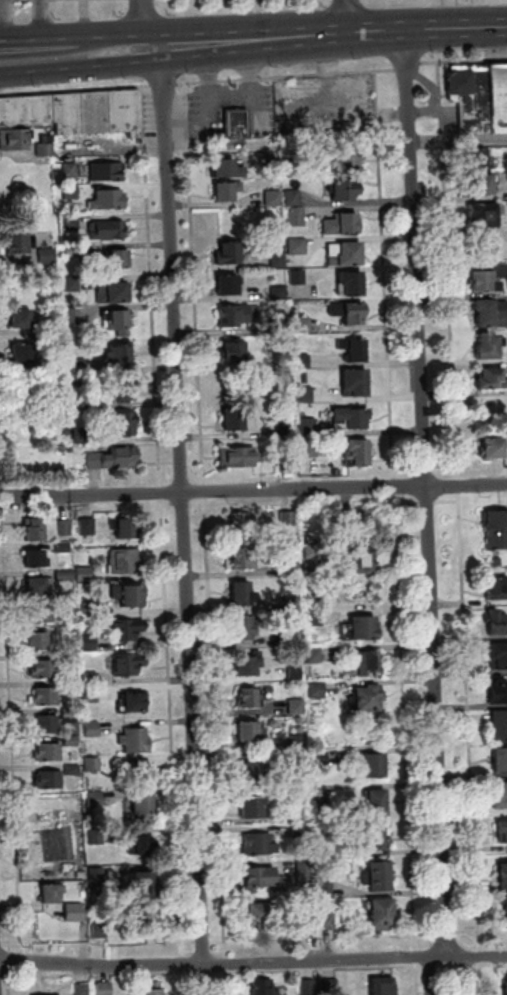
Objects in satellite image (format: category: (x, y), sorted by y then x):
road: (4, 0)
road: (348, 17)
road: (45, 19)
road: (8, 20)
road: (143, 24)
road: (428, 30)
road: (38, 38)
road: (110, 41)
road: (255, 41)
road: (152, 48)
road: (464, 61)
road: (409, 66)
road: (72, 67)
road: (287, 76)
road: (165, 83)
road: (75, 89)
building: (481, 96)
building: (77, 110)
building: (238, 123)
building: (15, 138)
road: (460, 141)
building: (46, 149)
building: (481, 159)
building: (347, 164)
building: (272, 166)
building: (298, 167)
building: (227, 168)
building: (71, 169)
building: (107, 171)
building: (482, 183)
building: (345, 188)
building: (228, 189)
building: (72, 190)
building: (294, 197)
building: (275, 198)
building: (110, 199)
building: (487, 213)
building: (298, 216)
building: (73, 222)
building: (343, 223)
building: (108, 230)
building: (17, 242)
building: (299, 245)
building: (74, 250)
building: (230, 252)
building: (346, 252)
building: (48, 255)
building: (121, 258)
building: (279, 259)
road: (450, 270)
road: (386, 274)
building: (299, 276)
building: (487, 281)
building: (352, 282)
building: (73, 283)
road: (196, 283)
building: (230, 283)
road: (153, 285)
building: (114, 291)
building: (280, 292)
building: (350, 311)
building: (492, 312)
building: (235, 314)
building: (75, 315)
building: (22, 318)
building: (119, 319)
building: (304, 324)
building: (280, 325)
building: (489, 346)
building: (356, 348)
building: (24, 351)
building: (235, 351)
building: (123, 353)
building: (283, 360)
building: (304, 360)
building: (53, 362)
building: (80, 365)
building: (491, 378)
building: (357, 381)
building: (124, 392)
building: (306, 394)
building: (22, 395)
building: (81, 400)
building: (354, 416)
building: (235, 419)
building: (126, 423)
building: (307, 427)
building: (286, 430)
building: (69, 431)
building: (82, 434)
building: (495, 447)
building: (309, 448)
building: (360, 450)
building: (239, 456)
building: (115, 457)
road: (1, 464)
building: (288, 464)
road: (408, 469)
road: (428, 471)
road: (448, 473)
road: (198, 480)
road: (170, 481)
road: (184, 481)
road: (1, 484)
road: (461, 486)
road: (395, 487)
road: (205, 490)
road: (253, 490)
road: (163, 492)
road: (428, 493)
road: (2, 498)
road: (199, 501)
road: (169, 502)
road: (183, 502)
road: (450, 502)
road: (409, 503)
road: (429, 503)
road: (1, 512)
building: (359, 516)
building: (289, 518)
road: (185, 521)
building: (89, 526)
building: (242, 526)
building: (66, 527)
building: (128, 527)
building: (496, 527)
building: (35, 528)
building: (311, 539)
building: (64, 547)
building: (313, 550)
building: (36, 558)
building: (246, 558)
building: (362, 559)
building: (126, 561)
building: (497, 561)
building: (292, 569)
building: (86, 574)
building: (66, 576)
building: (42, 585)
building: (498, 587)
building: (243, 593)
building: (130, 594)
building: (316, 602)
building: (293, 603)
building: (88, 609)
building: (42, 613)
building: (316, 618)
building: (495, 622)
building: (244, 627)
building: (365, 627)
building: (128, 628)
building: (39, 641)
building: (90, 642)
building: (316, 654)
building: (499, 654)
building: (367, 663)
building: (129, 664)
building: (249, 664)
building: (46, 669)
building: (296, 673)
building: (92, 678)
building: (270, 689)
building: (318, 690)
building: (499, 691)
building: (92, 694)
building: (47, 696)
building: (249, 697)
building: (368, 698)
building: (135, 702)
building: (298, 706)
building: (71, 715)
building: (300, 719)
road: (471, 721)
road: (406, 723)
building: (47, 724)
building: (499, 725)
road: (173, 728)
road: (216, 728)
building: (93, 729)
building: (301, 730)
building: (251, 731)
road: (13, 732)
building: (136, 740)
building: (73, 741)
building: (298, 741)
building: (50, 751)
building: (321, 758)
building: (298, 759)
building: (500, 759)
building: (94, 764)
building: (375, 765)
building: (74, 770)
building: (141, 770)
building: (254, 772)
building: (50, 779)
building: (501, 794)
building: (96, 798)
building: (378, 802)
building: (144, 804)
building: (254, 806)
building: (327, 810)
building: (301, 815)
building: (300, 830)
building: (503, 831)
building: (98, 836)
building: (374, 838)
building: (142, 844)
building: (261, 844)
building: (325, 851)
building: (305, 868)
building: (82, 874)
building: (97, 874)
building: (381, 876)
building: (503, 876)
building: (260, 878)
building: (142, 883)
building: (327, 890)
building: (51, 893)
building: (506, 909)
building: (383, 913)
building: (259, 915)
building: (149, 921)
building: (328, 921)
building: (305, 922)
road: (467, 928)
road: (428, 929)
road: (448, 929)
building: (101, 930)
road: (1, 940)
road: (10, 945)
road: (190, 955)
road: (206, 955)
road: (221, 955)
road: (481, 955)
road: (417, 956)
road: (11, 961)
road: (253, 963)
road: (491, 963)
road: (184, 964)
road: (228, 964)
road: (450, 964)
road: (469, 964)
road: (432, 965)
road: (320, 969)
road: (206, 973)
road: (105, 975)
road: (469, 975)
road: (432, 976)
road: (482, 977)
road: (418, 979)
road: (228, 982)
road: (184, 983)
road: (12, 984)
building: (384, 986)
building: (309, 987)
building: (331, 987)
building: (105, 988)
building: (265, 988)
building: (506, 988)
building: (83, 989)
building: (154, 989)

